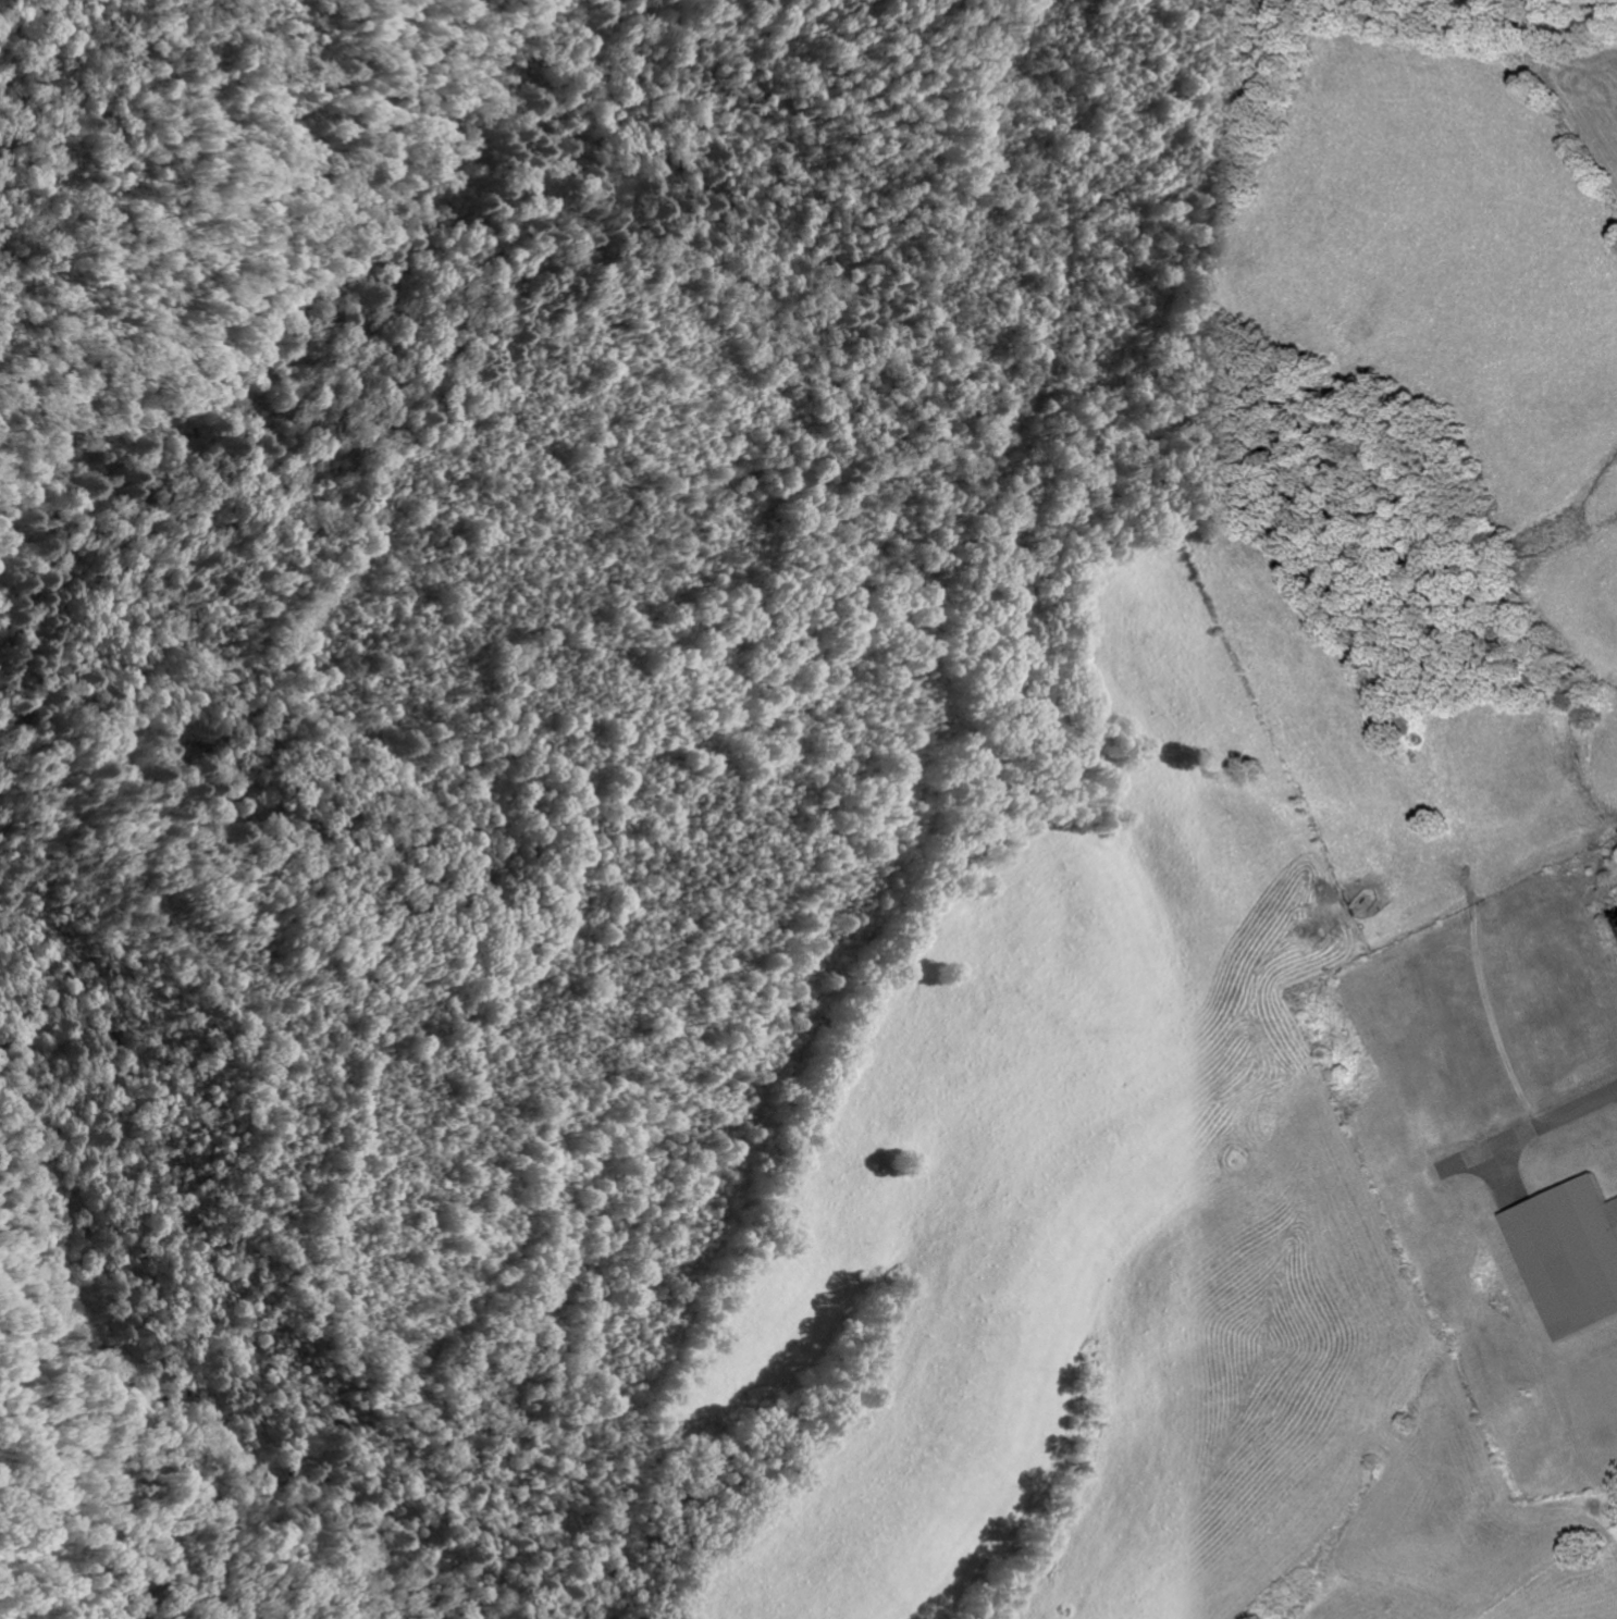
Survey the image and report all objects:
road: (1527, 1133)
building: (1569, 1255)

